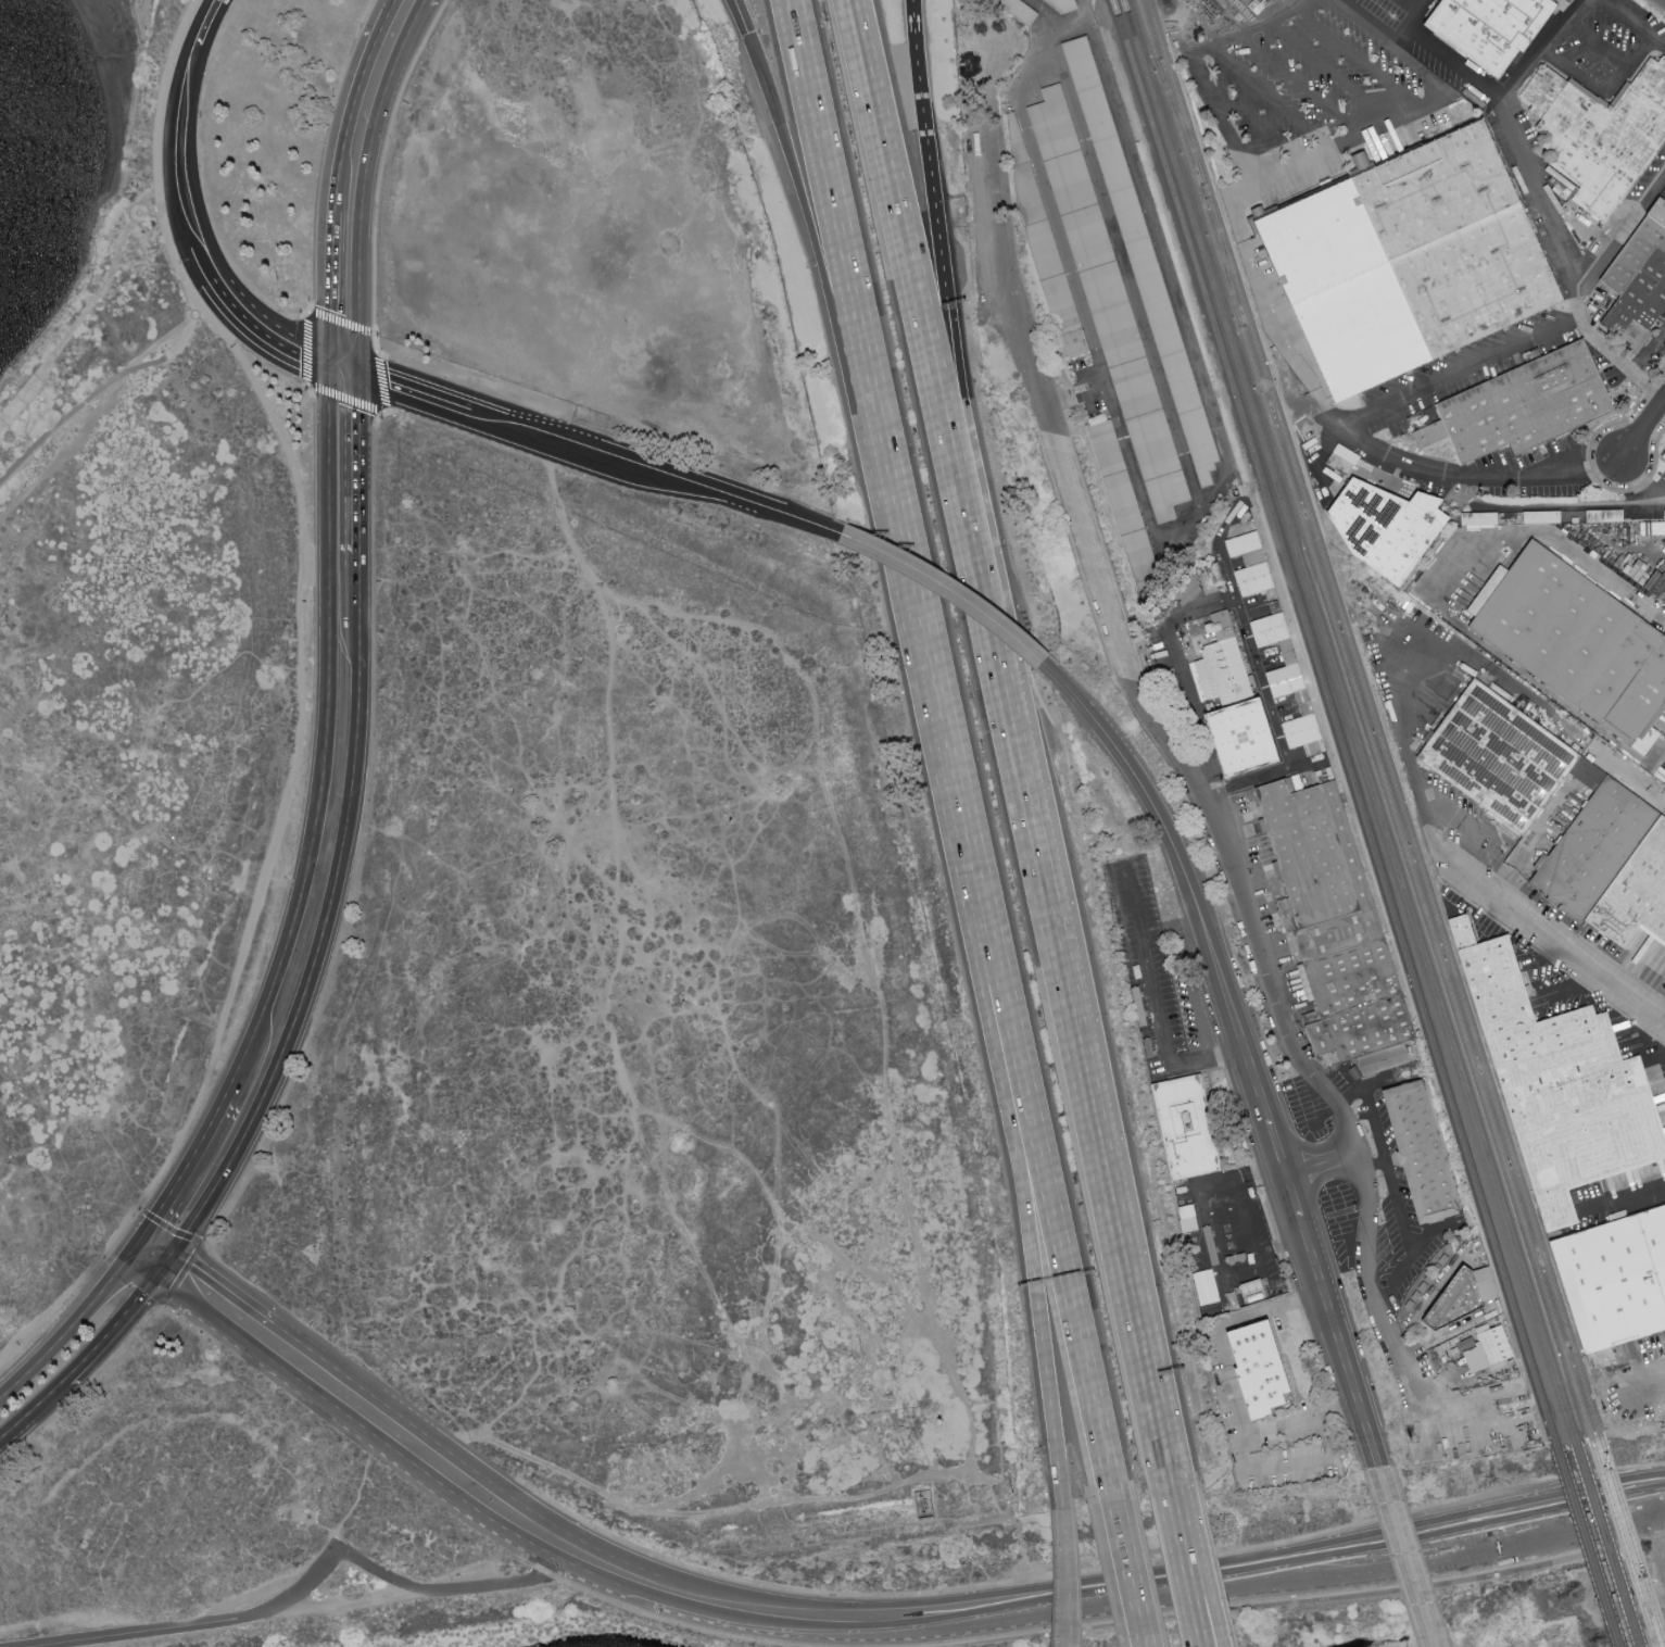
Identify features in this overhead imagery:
road: (1418, 3)
building: (1060, 8)
road: (1654, 8)
building: (1020, 10)
road: (1087, 12)
road: (1206, 13)
parking lot: (1206, 16)
road: (741, 17)
road: (1057, 22)
road: (1629, 25)
road: (1165, 29)
building: (1498, 29)
road: (1253, 30)
road: (1390, 39)
road: (915, 52)
road: (1610, 55)
road: (1360, 61)
road: (1330, 74)
road: (1588, 84)
road: (1301, 85)
road: (1506, 93)
road: (1273, 99)
road: (345, 101)
railway: (1178, 121)
road: (1256, 125)
building: (1602, 138)
road: (1320, 162)
road: (176, 169)
road: (380, 176)
road: (364, 180)
road: (1045, 198)
building: (1657, 212)
road: (830, 228)
road: (1622, 234)
road: (816, 244)
building: (1045, 247)
railway: (1222, 255)
building: (1145, 261)
building: (1408, 262)
road: (1572, 263)
road: (1125, 273)
building: (1637, 279)
road: (321, 282)
road: (194, 299)
building: (1107, 305)
road: (83, 314)
road: (918, 323)
road: (286, 342)
road: (1648, 353)
traffic signals: (323, 357)
road: (338, 365)
traffic signals: (354, 374)
road: (950, 375)
road: (1460, 375)
road: (99, 389)
road: (412, 394)
building: (1525, 402)
road: (99, 413)
road: (1216, 419)
road: (485, 420)
road: (1643, 431)
road: (1347, 435)
building: (1663, 456)
road: (355, 464)
road: (1643, 474)
road: (671, 477)
building: (1123, 507)
building: (1481, 520)
building: (1387, 526)
road: (1551, 541)
building: (1250, 558)
road: (316, 563)
building: (1216, 583)
road: (947, 590)
road: (1239, 614)
road: (1110, 631)
building: (1577, 640)
road: (925, 672)
road: (1403, 676)
building: (1292, 687)
building: (1236, 708)
railway: (1372, 717)
railway: (1362, 719)
railway: (1348, 721)
railway: (1334, 722)
road: (324, 733)
road: (1403, 734)
road: (1658, 753)
building: (1501, 755)
road: (1171, 839)
road: (1487, 840)
road: (1534, 844)
building: (1600, 855)
building: (1324, 873)
road: (1128, 900)
building: (1638, 903)
road: (327, 921)
road: (1136, 934)
road: (1544, 934)
road: (1575, 989)
road: (227, 1003)
building: (1361, 1008)
road: (1661, 1009)
road: (1224, 1052)
building: (1386, 1065)
road: (1081, 1072)
road: (1256, 1082)
building: (1563, 1087)
building: (1187, 1128)
road: (1276, 1149)
building: (1428, 1159)
road: (1373, 1164)
road: (1387, 1167)
road: (190, 1168)
road: (1039, 1189)
road: (1023, 1197)
road: (1626, 1197)
road: (1292, 1198)
road: (1199, 1211)
road: (1354, 1222)
road: (1368, 1222)
road: (1342, 1227)
traffic signals: (146, 1237)
road: (199, 1240)
road: (1278, 1245)
road: (137, 1247)
road: (160, 1247)
traffic signals: (129, 1257)
traffic signals: (175, 1257)
road: (143, 1268)
road: (166, 1268)
traffic signals: (159, 1279)
building: (1617, 1287)
building: (1256, 1290)
building: (1462, 1307)
road: (66, 1327)
road: (116, 1332)
road: (1340, 1343)
building: (1498, 1349)
building: (1259, 1367)
road: (1650, 1386)
road: (35, 1411)
road: (352, 1422)
road: (1241, 1449)
road: (531, 1463)
power substation: (925, 1504)
road: (465, 1519)
railway: (1630, 1541)
railway: (1623, 1543)
railway: (1606, 1545)
railway: (1586, 1547)
road: (1185, 1554)
road: (1409, 1558)
road: (1123, 1569)
road: (1065, 1576)
road: (445, 1588)
road: (1281, 1597)
road: (349, 1605)
road: (1105, 1611)
road: (201, 1624)
road: (1200, 1627)
road: (1203, 1627)
road: (1064, 1646)
road: (1065, 1646)

